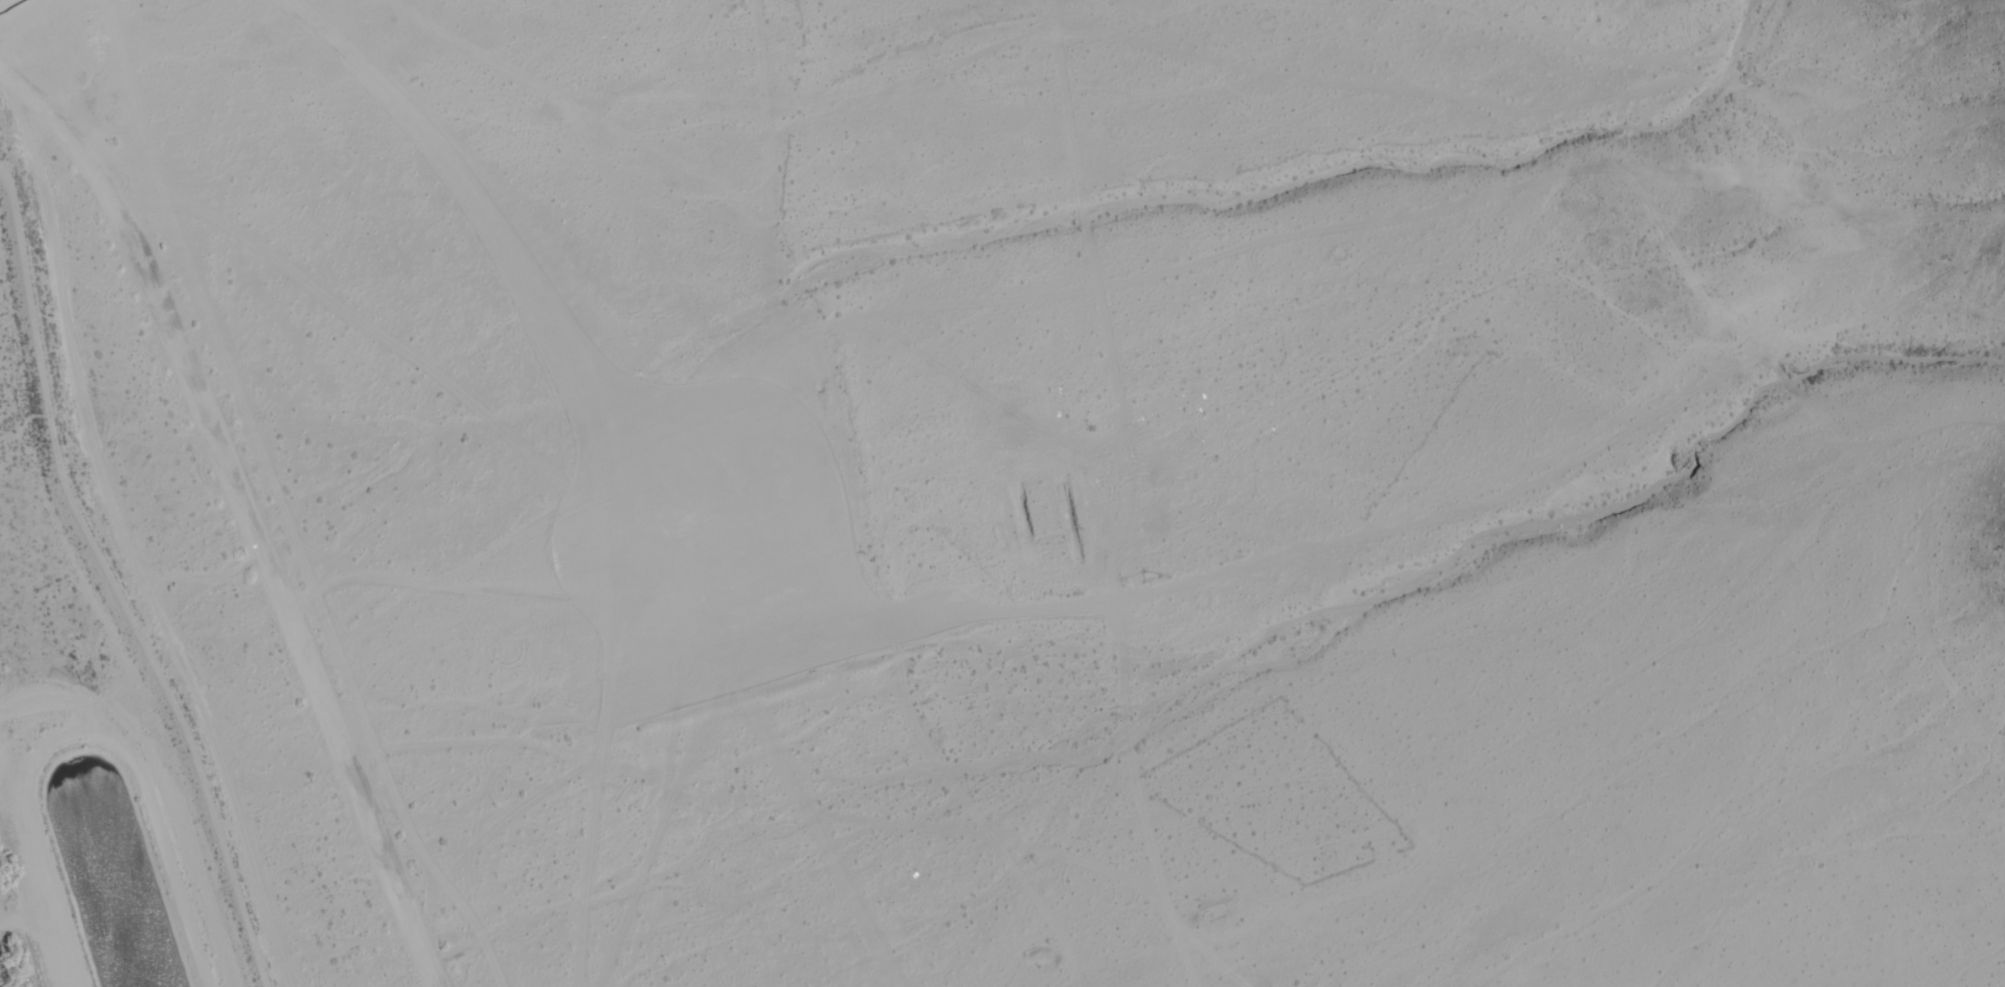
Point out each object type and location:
road: (237, 514)

